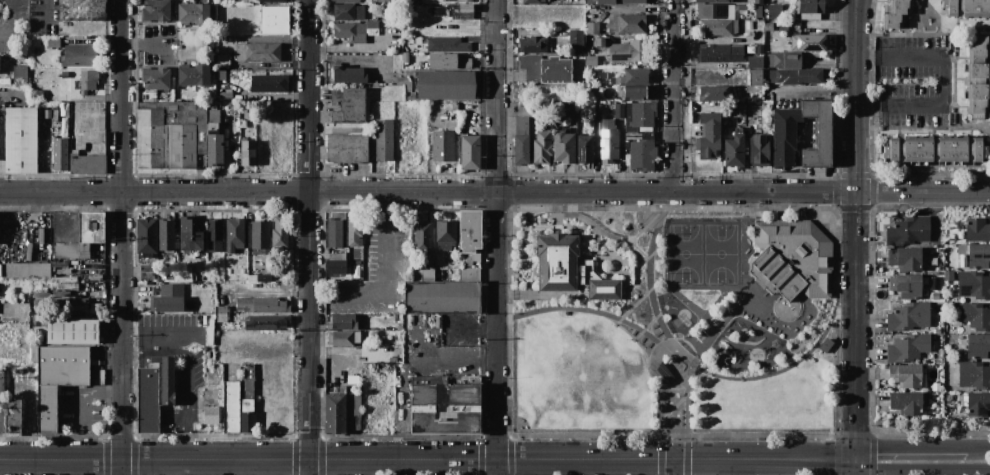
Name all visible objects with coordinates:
building: (272, 0)
building: (345, 1)
building: (379, 1)
building: (413, 1)
building: (534, 1)
building: (602, 1)
building: (630, 1)
building: (713, 1)
building: (219, 2)
building: (758, 2)
building: (809, 8)
building: (967, 8)
road: (43, 10)
building: (82, 10)
building: (156, 10)
building: (347, 11)
building: (453, 11)
building: (715, 11)
building: (774, 11)
building: (758, 12)
building: (192, 13)
building: (897, 13)
building: (650, 14)
road: (13, 19)
building: (274, 20)
building: (779, 23)
building: (395, 24)
building: (626, 25)
building: (747, 26)
building: (768, 26)
building: (713, 27)
building: (592, 28)
building: (350, 31)
road: (923, 33)
building: (576, 37)
building: (53, 42)
building: (601, 42)
building: (809, 42)
building: (447, 44)
building: (533, 44)
road: (144, 45)
building: (395, 46)
building: (759, 49)
building: (257, 52)
building: (719, 52)
building: (629, 53)
building: (80, 55)
building: (405, 57)
building: (589, 58)
building: (442, 60)
building: (785, 60)
building: (222, 61)
building: (755, 62)
building: (530, 66)
building: (810, 66)
building: (555, 70)
building: (64, 74)
building: (348, 74)
building: (20, 75)
building: (193, 75)
building: (601, 75)
building: (798, 75)
building: (978, 75)
building: (632, 76)
building: (755, 77)
building: (156, 79)
building: (828, 79)
road: (942, 80)
building: (87, 81)
building: (268, 83)
building: (445, 85)
building: (617, 87)
building: (639, 92)
road: (817, 92)
building: (713, 93)
building: (36, 95)
road: (676, 95)
building: (55, 96)
building: (213, 105)
building: (348, 105)
building: (455, 106)
building: (245, 109)
building: (619, 110)
building: (737, 110)
building: (639, 116)
building: (249, 123)
building: (521, 125)
building: (251, 129)
building: (170, 133)
building: (819, 133)
building: (637, 135)
building: (709, 136)
building: (785, 136)
building: (213, 139)
building: (384, 139)
building: (20, 140)
building: (608, 141)
building: (442, 145)
building: (564, 145)
building: (626, 145)
building: (541, 147)
building: (347, 148)
building: (521, 149)
building: (585, 149)
building: (734, 149)
building: (758, 149)
building: (935, 149)
building: (247, 152)
building: (469, 152)
building: (61, 154)
building: (642, 155)
building: (87, 164)
road: (495, 191)
building: (46, 215)
road: (857, 229)
building: (90, 230)
building: (470, 230)
building: (977, 230)
building: (354, 231)
building: (909, 231)
building: (334, 232)
building: (191, 233)
building: (280, 233)
building: (234, 234)
building: (445, 234)
building: (214, 235)
building: (259, 235)
building: (166, 236)
road: (123, 237)
building: (146, 237)
road: (309, 237)
building: (423, 237)
road: (498, 237)
building: (41, 238)
building: (369, 240)
building: (367, 248)
building: (28, 251)
building: (64, 254)
park: (703, 254)
building: (976, 256)
building: (792, 258)
building: (905, 258)
building: (97, 260)
building: (468, 260)
building: (406, 261)
building: (335, 264)
building: (146, 269)
building: (570, 269)
building: (0, 270)
building: (64, 271)
building: (26, 272)
building: (182, 274)
building: (469, 274)
building: (949, 275)
building: (91, 276)
building: (203, 277)
building: (252, 278)
building: (259, 278)
building: (267, 279)
building: (934, 282)
building: (906, 285)
building: (974, 286)
building: (61, 293)
road: (384, 293)
building: (42, 295)
building: (439, 295)
building: (934, 296)
building: (168, 298)
building: (41, 302)
building: (63, 302)
building: (261, 305)
building: (221, 313)
building: (908, 316)
building: (975, 316)
road: (715, 320)
building: (343, 321)
park: (675, 321)
building: (266, 322)
building: (370, 326)
building: (400, 326)
road: (473, 328)
road: (638, 329)
building: (72, 330)
building: (343, 338)
building: (455, 346)
building: (978, 346)
building: (908, 348)
road: (698, 363)
building: (250, 370)
building: (923, 371)
building: (227, 372)
building: (235, 372)
road: (187, 373)
building: (905, 375)
building: (974, 375)
building: (99, 377)
building: (57, 378)
building: (924, 381)
building: (936, 386)
building: (1, 387)
road: (84, 392)
building: (154, 392)
building: (247, 395)
building: (908, 402)
building: (445, 404)
building: (352, 405)
building: (978, 405)
building: (230, 406)
building: (335, 411)
building: (210, 414)
building: (13, 417)
building: (247, 422)
road: (911, 447)
road: (979, 447)
traffic signals: (858, 458)
road: (429, 459)
road: (858, 466)
road: (676, 467)
road: (921, 470)

